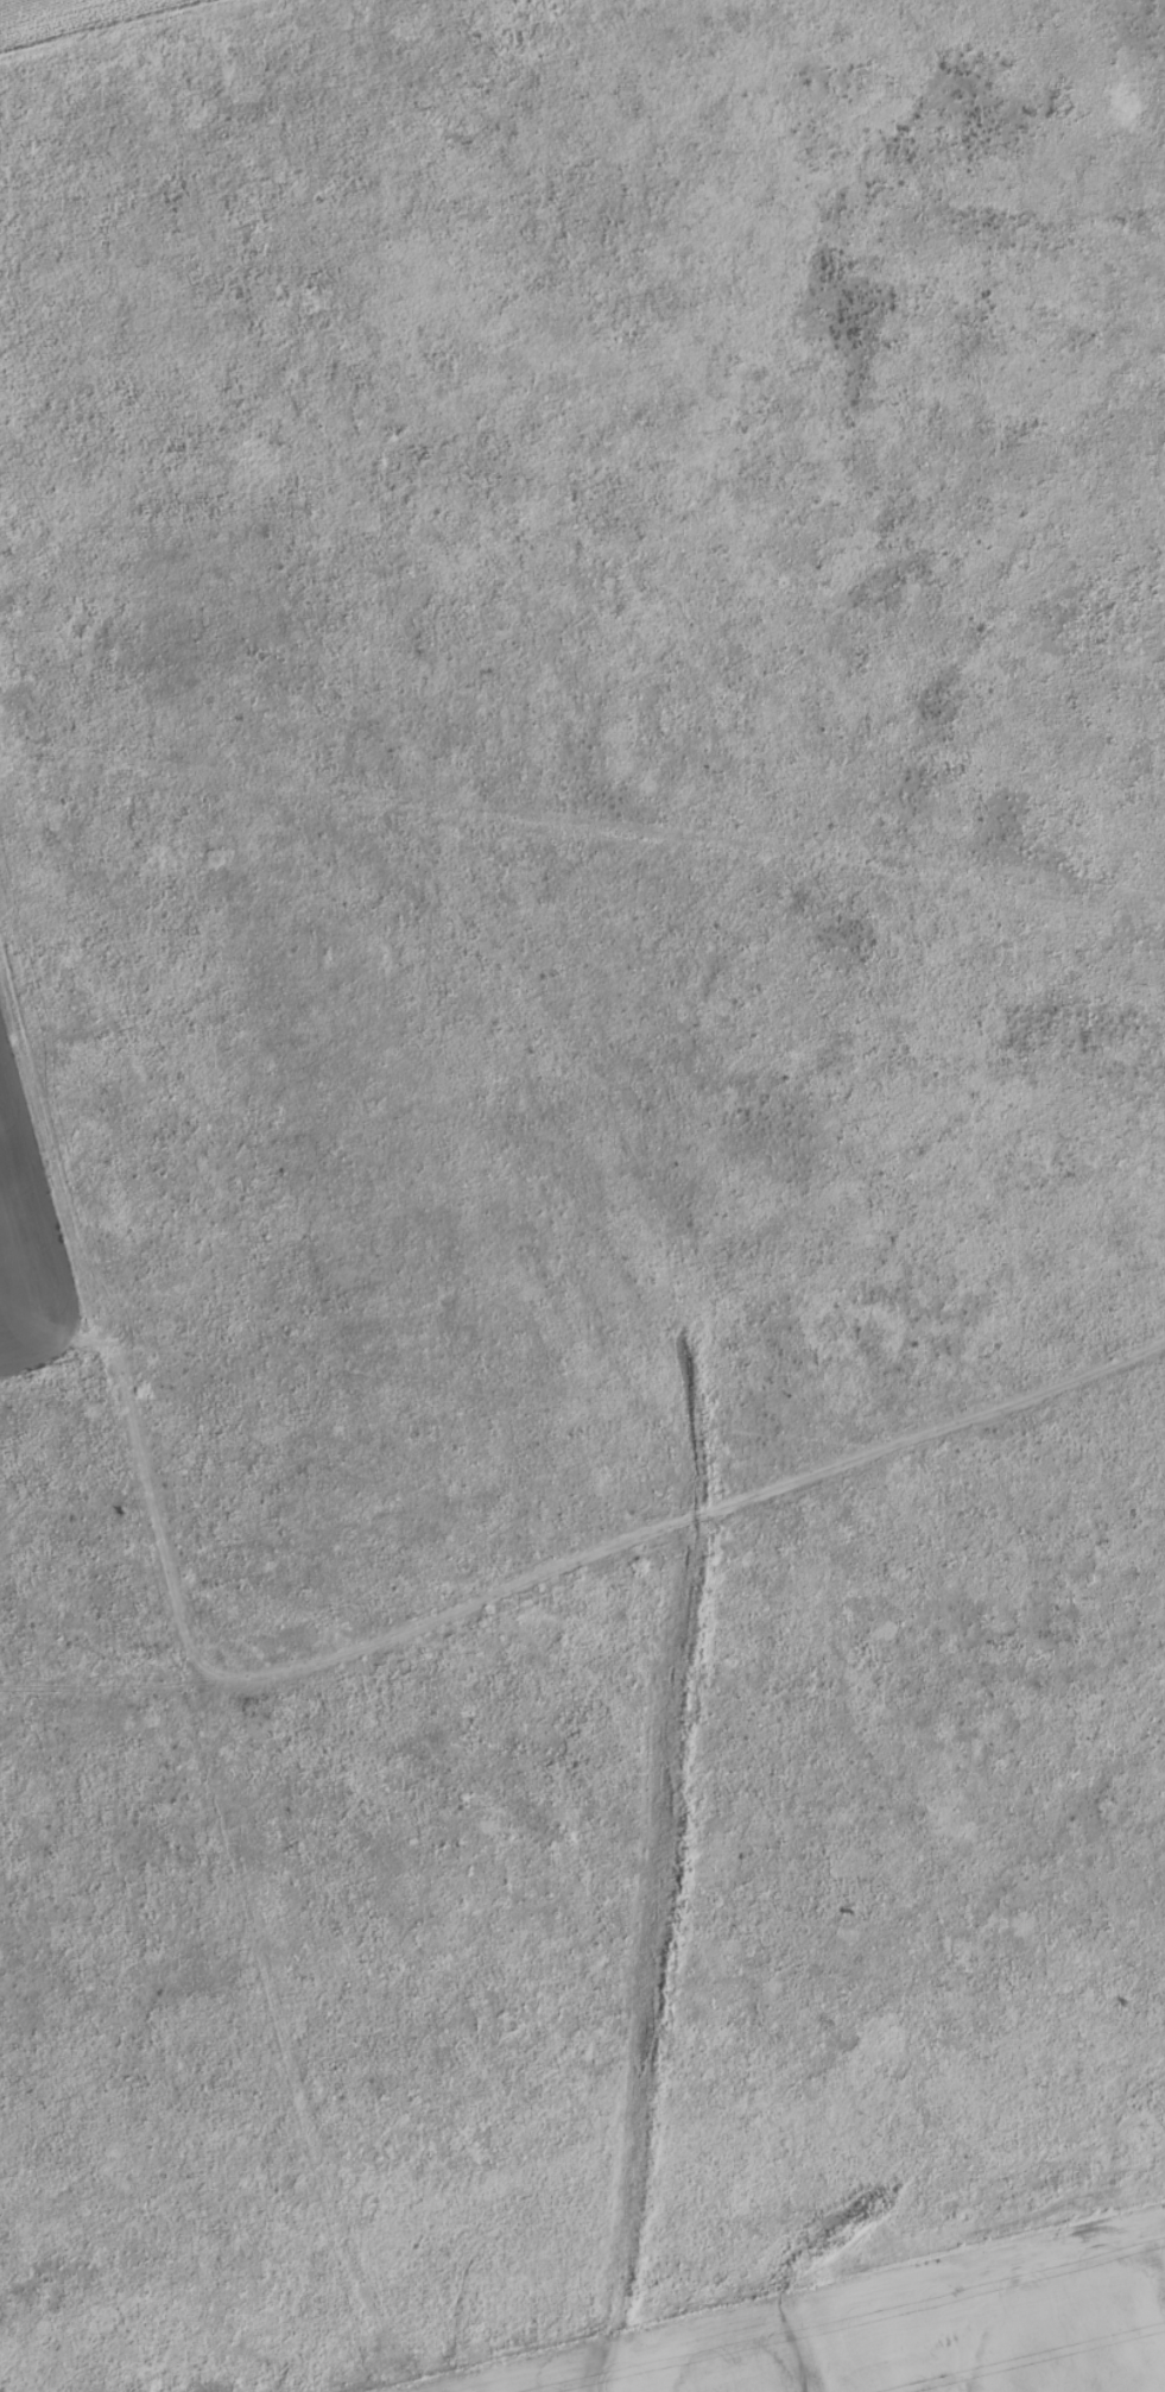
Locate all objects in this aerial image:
road: (571, 1842)

